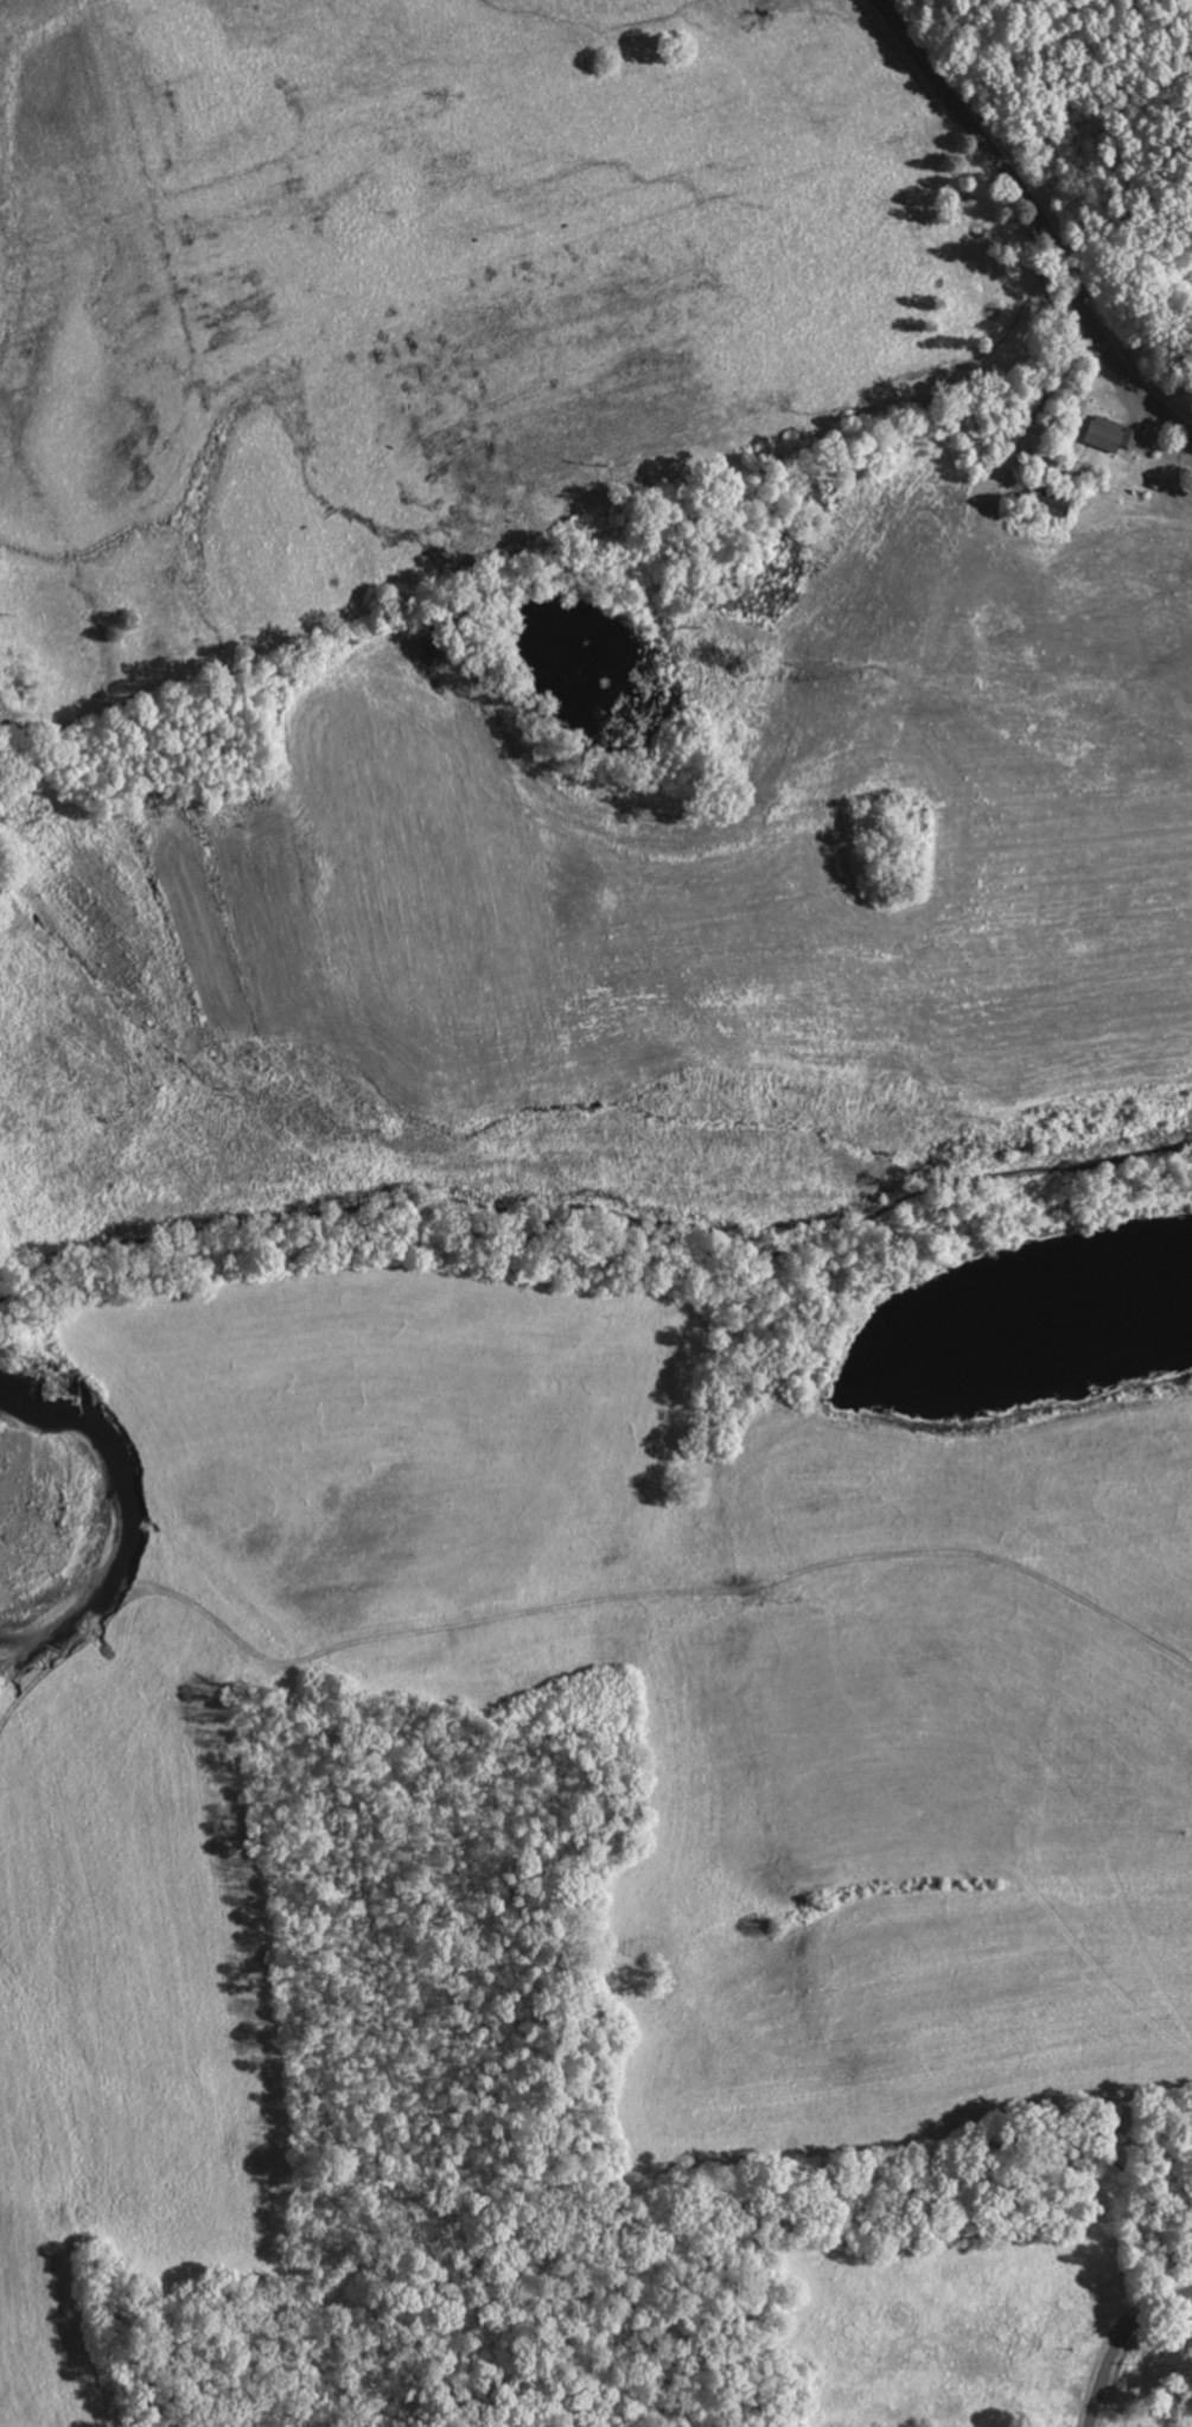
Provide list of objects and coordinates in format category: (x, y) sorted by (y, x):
road: (1037, 218)
building: (1108, 434)
building: (1059, 503)
road: (1120, 2342)

